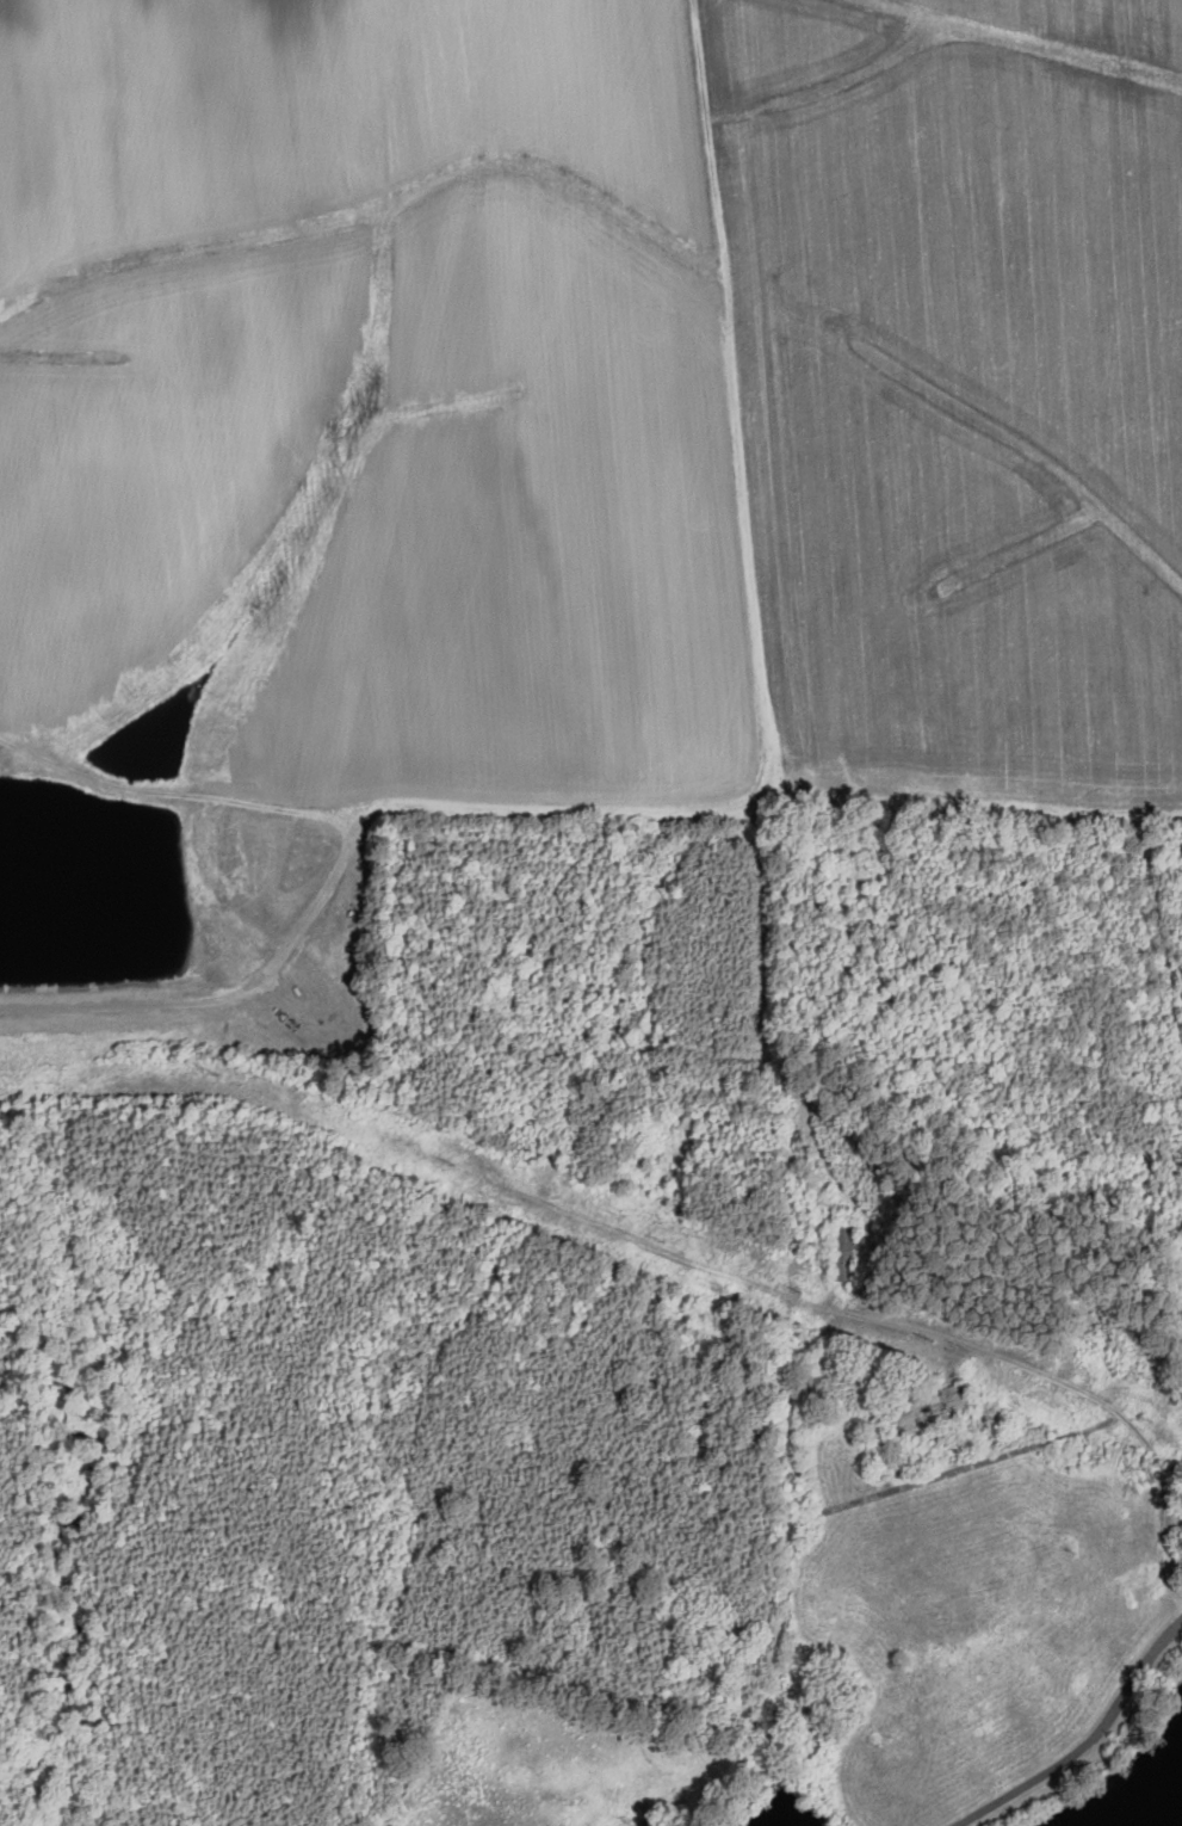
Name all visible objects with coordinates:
road: (803, 933)
building: (617, 1024)
building: (846, 1250)
road: (1044, 1386)
building: (928, 1411)
road: (1089, 1742)

